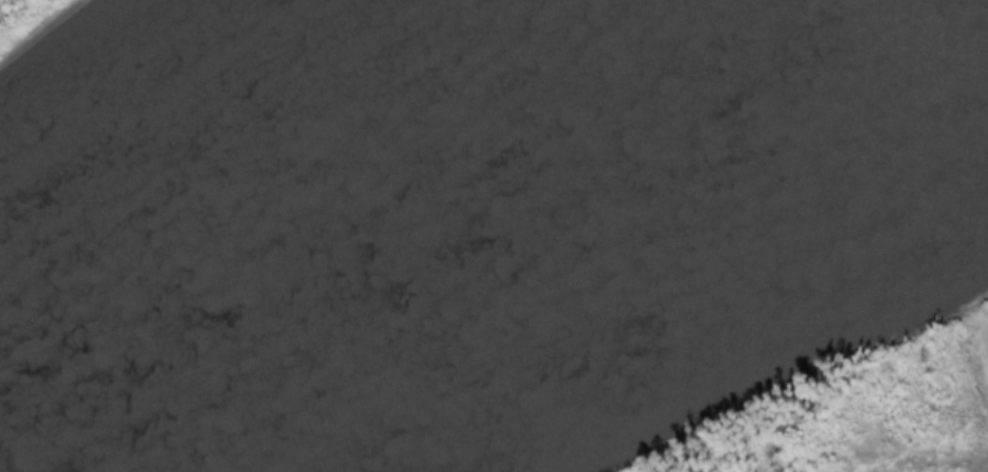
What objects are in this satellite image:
river: (250, 196)
road: (984, 317)

